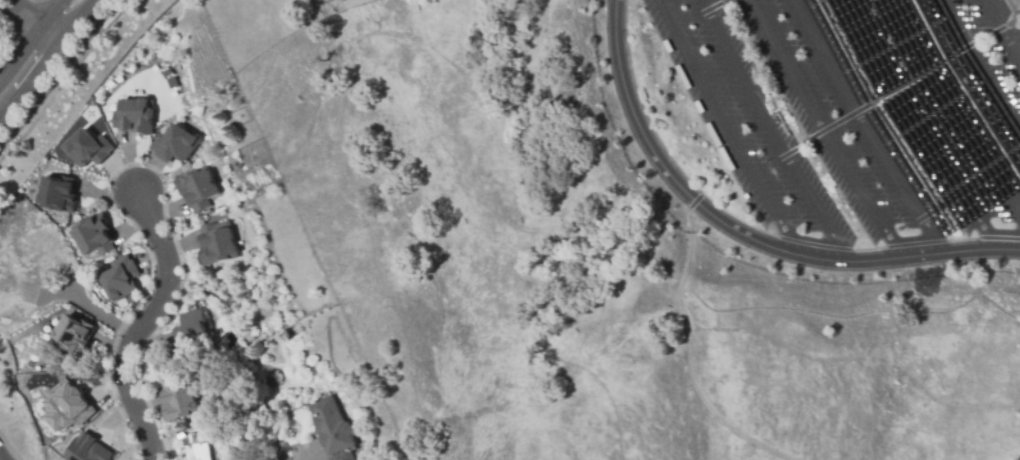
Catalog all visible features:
road: (1013, 11)
road: (24, 12)
road: (700, 13)
park: (5, 17)
road: (1000, 31)
road: (32, 38)
road: (45, 58)
road: (981, 60)
road: (882, 95)
road: (946, 107)
building: (134, 116)
road: (917, 124)
road: (727, 126)
road: (769, 127)
road: (821, 127)
road: (868, 127)
building: (174, 143)
building: (87, 148)
building: (197, 188)
building: (57, 194)
road: (697, 197)
road: (1016, 214)
road: (740, 234)
building: (92, 235)
building: (217, 243)
road: (897, 245)
building: (119, 279)
road: (96, 315)
road: (141, 326)
building: (193, 331)
building: (73, 334)
road: (688, 354)
building: (181, 400)
building: (62, 408)
building: (330, 430)
building: (196, 447)
building: (87, 449)

